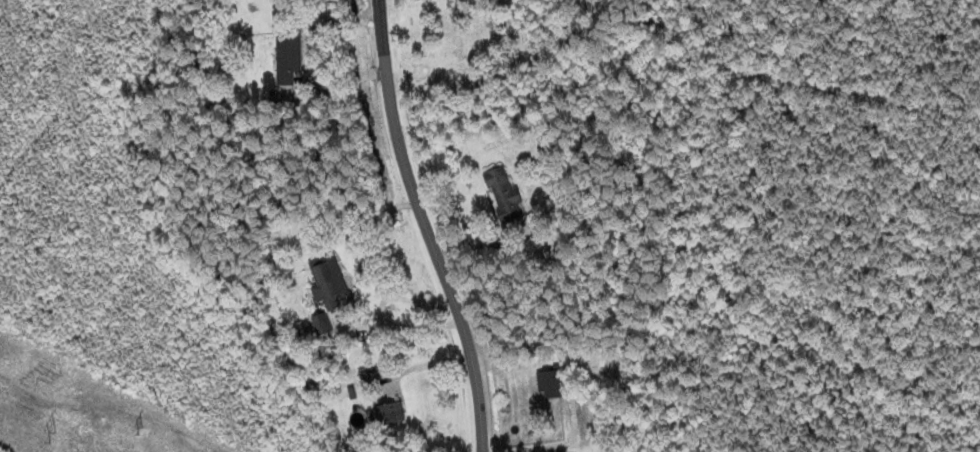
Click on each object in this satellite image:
building: (288, 57)
building: (503, 195)
road: (415, 224)
building: (327, 281)
building: (322, 324)
building: (550, 384)
building: (388, 414)
power tower: (141, 425)
power tower: (56, 443)

